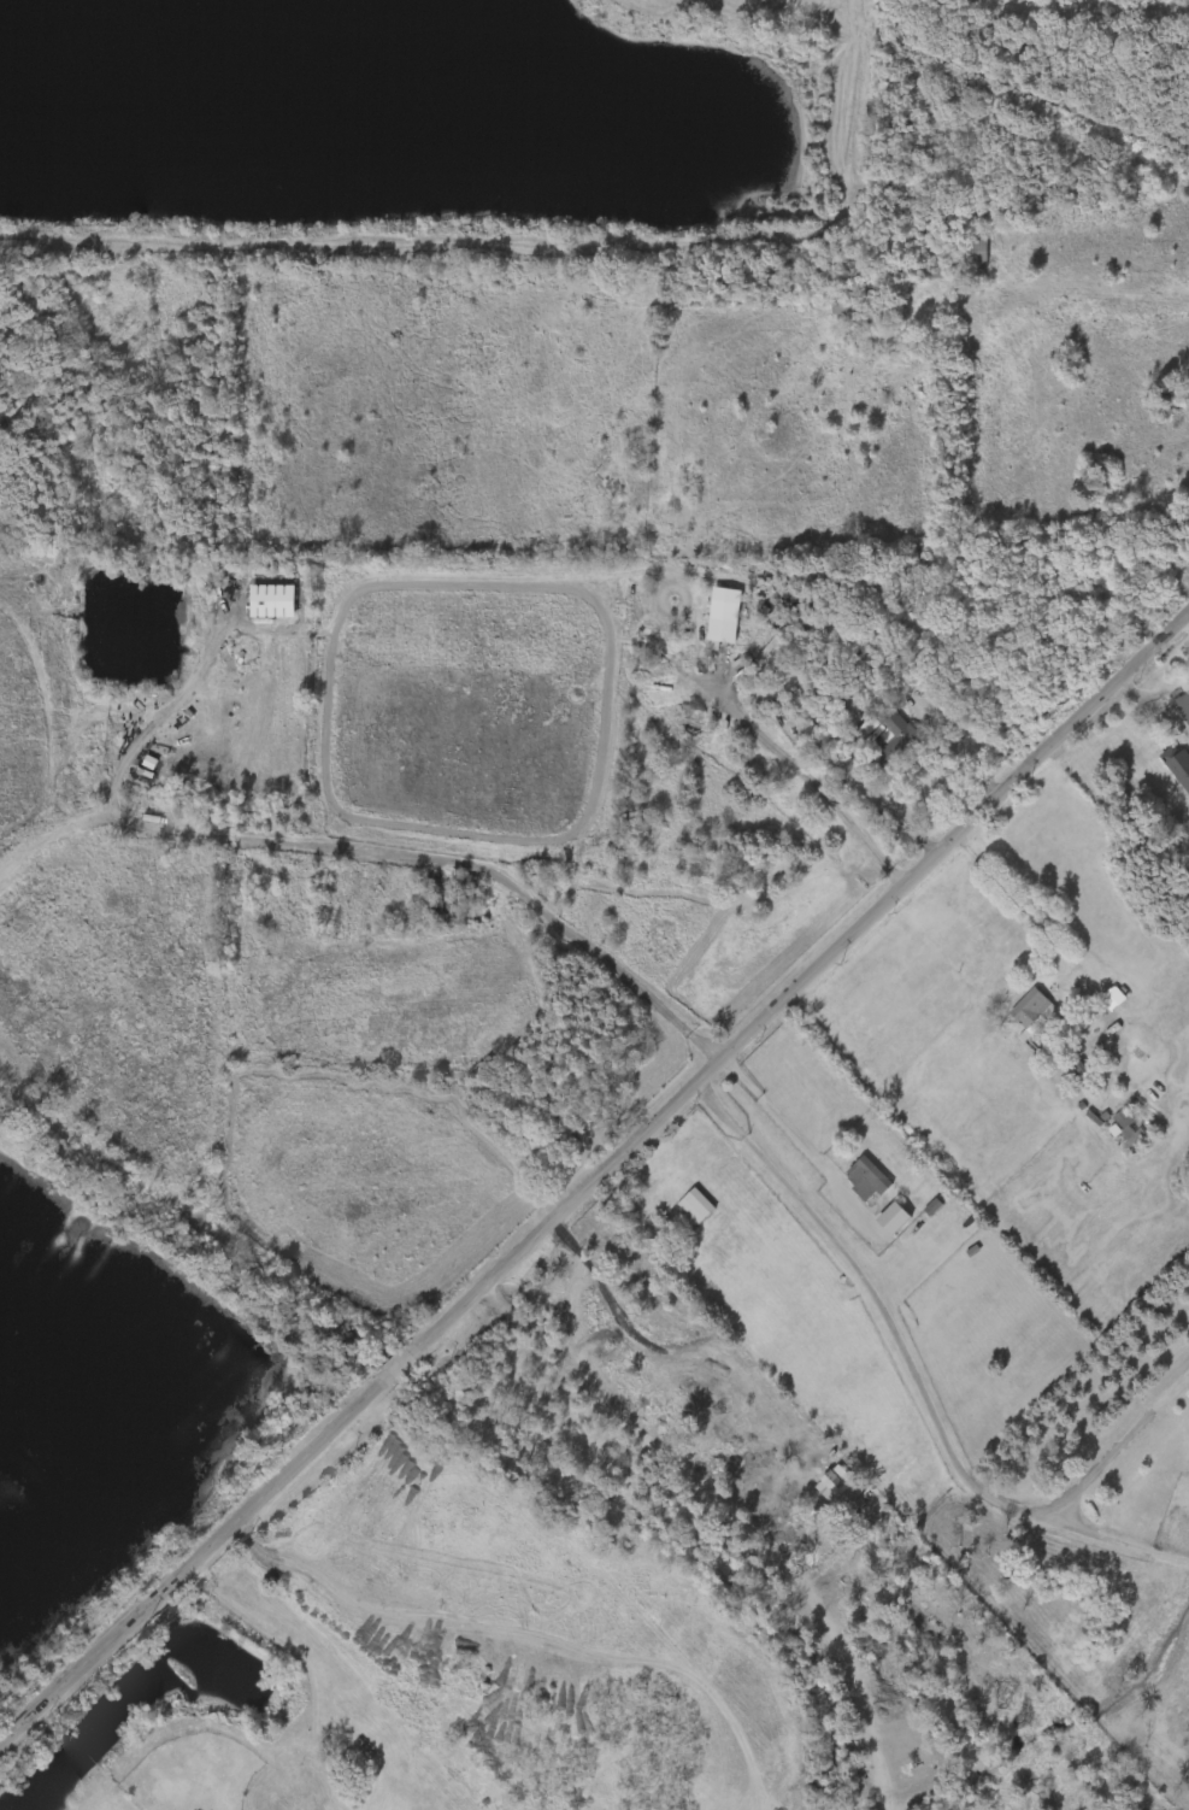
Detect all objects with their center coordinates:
building: (977, 251)
building: (938, 269)
building: (876, 311)
building: (257, 606)
building: (708, 619)
building: (823, 710)
building: (1172, 713)
building: (896, 735)
building: (875, 741)
building: (1178, 764)
building: (1170, 776)
road: (788, 780)
road: (390, 850)
road: (1008, 903)
building: (1096, 1003)
building: (1035, 1011)
building: (1014, 1012)
building: (1125, 1126)
building: (1109, 1133)
road: (794, 1135)
road: (593, 1166)
building: (870, 1179)
building: (850, 1182)
building: (697, 1204)
building: (878, 1222)
road: (911, 1408)
road: (246, 1614)
road: (366, 1729)
road: (314, 1738)

